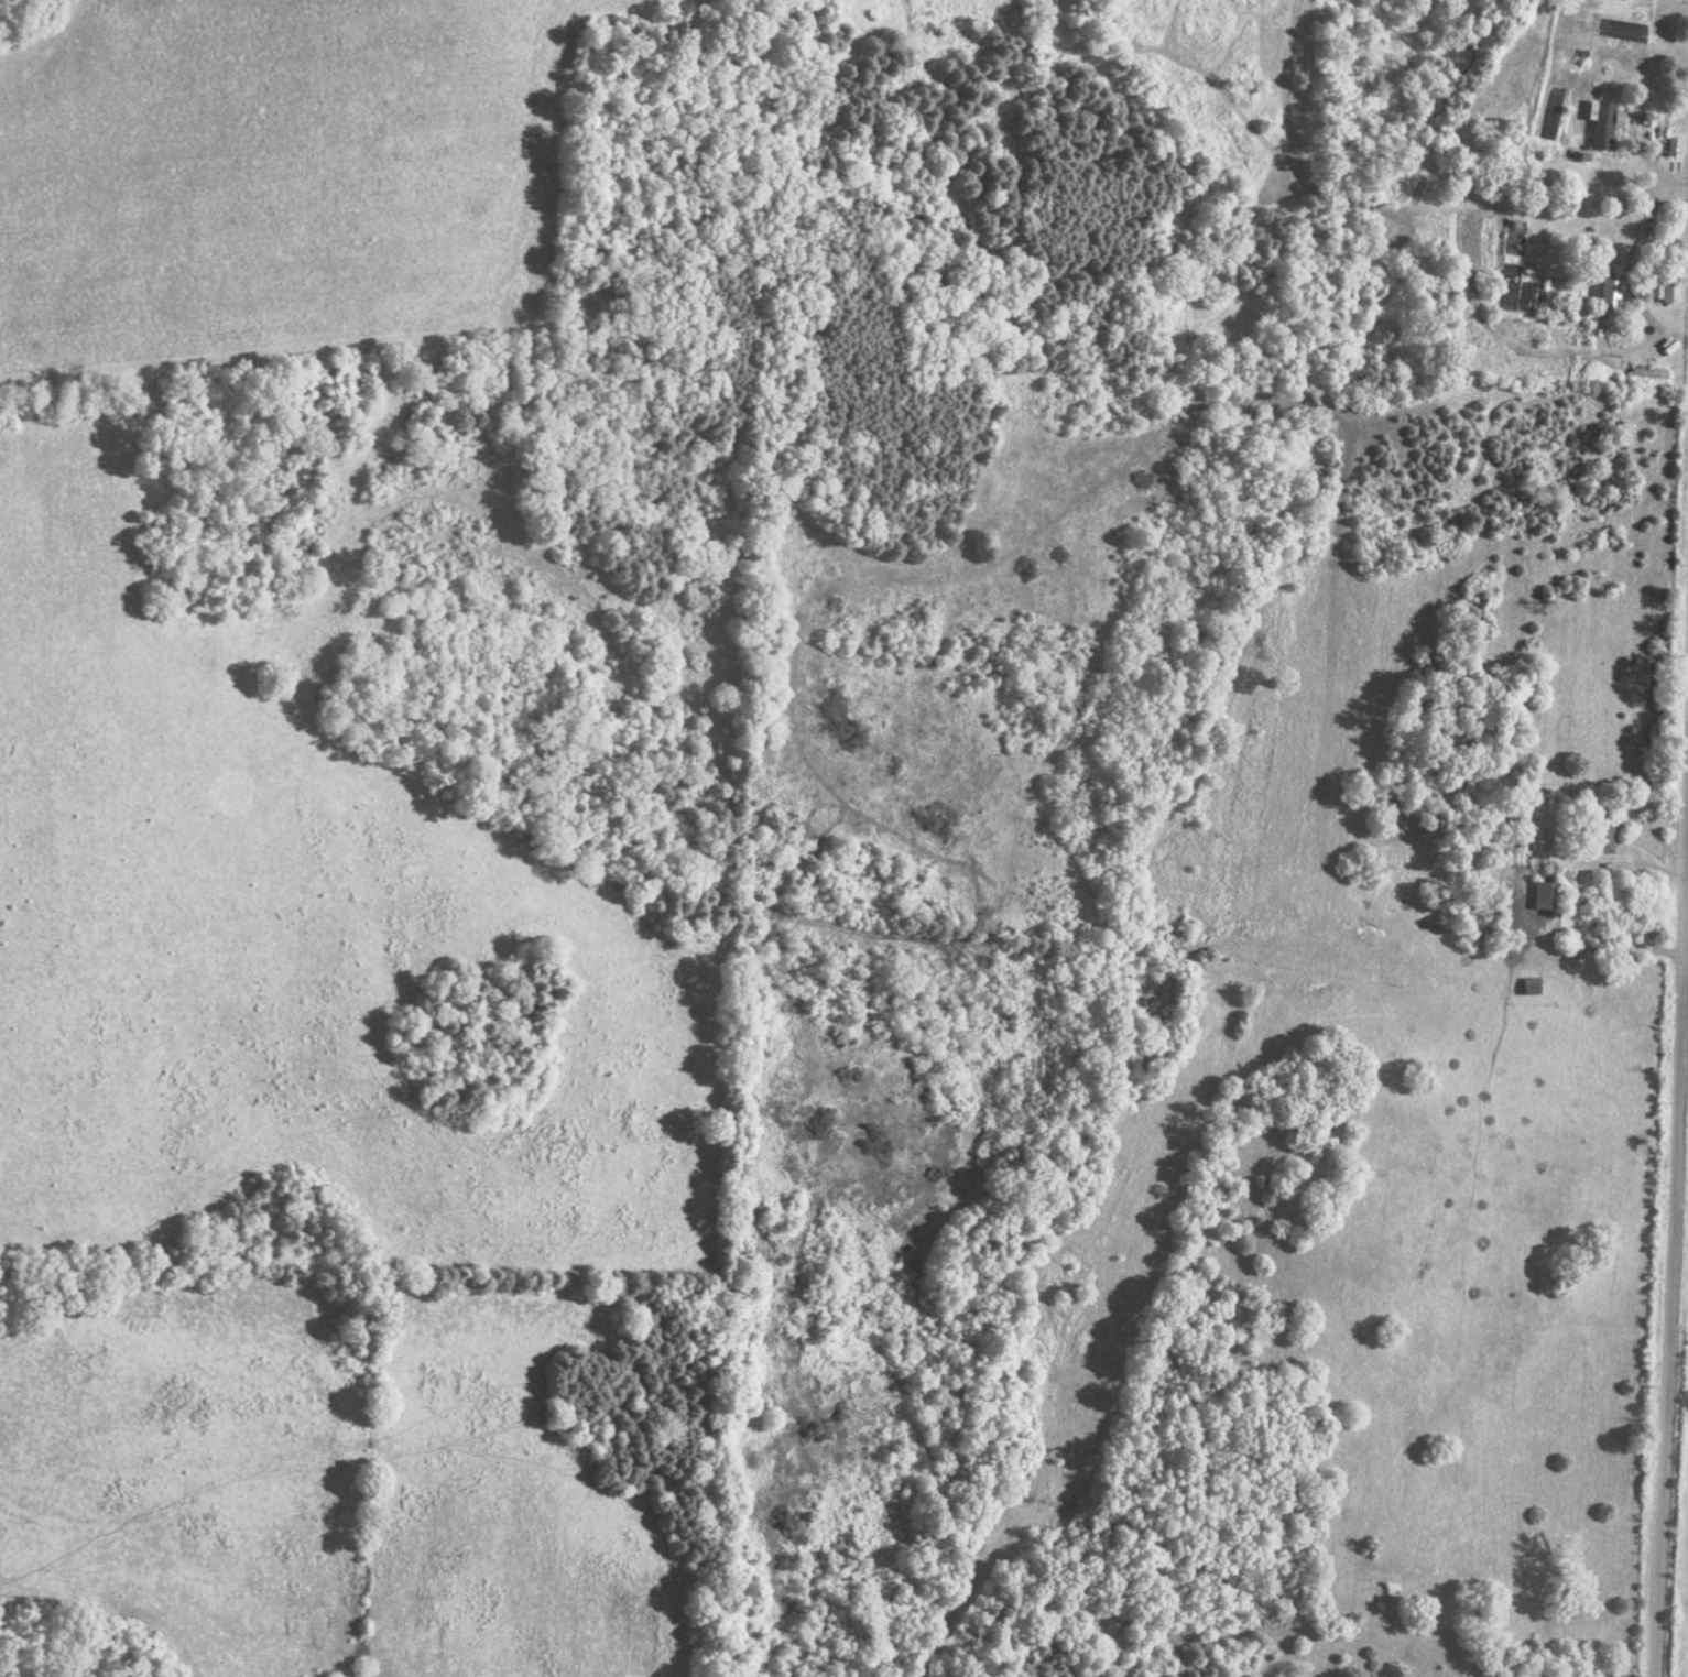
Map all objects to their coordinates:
building: (1603, 126)
building: (1511, 280)
building: (1531, 290)
building: (1597, 829)
building: (1547, 896)
road: (1675, 1390)

